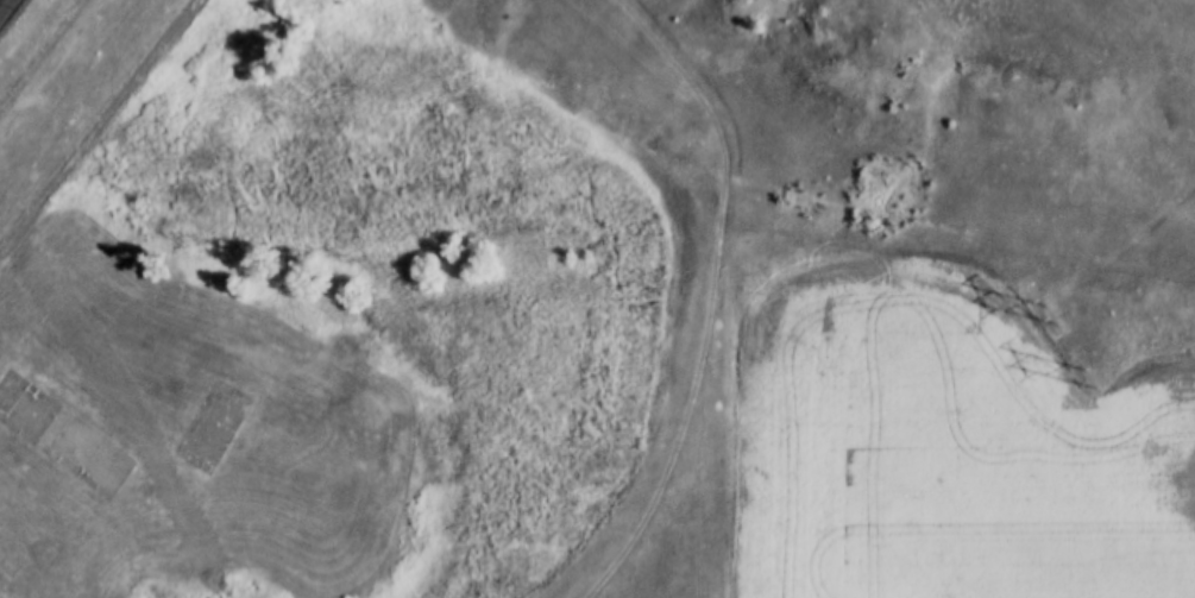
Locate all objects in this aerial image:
road: (13, 18)
power tower: (1048, 320)
power tower: (1083, 382)

